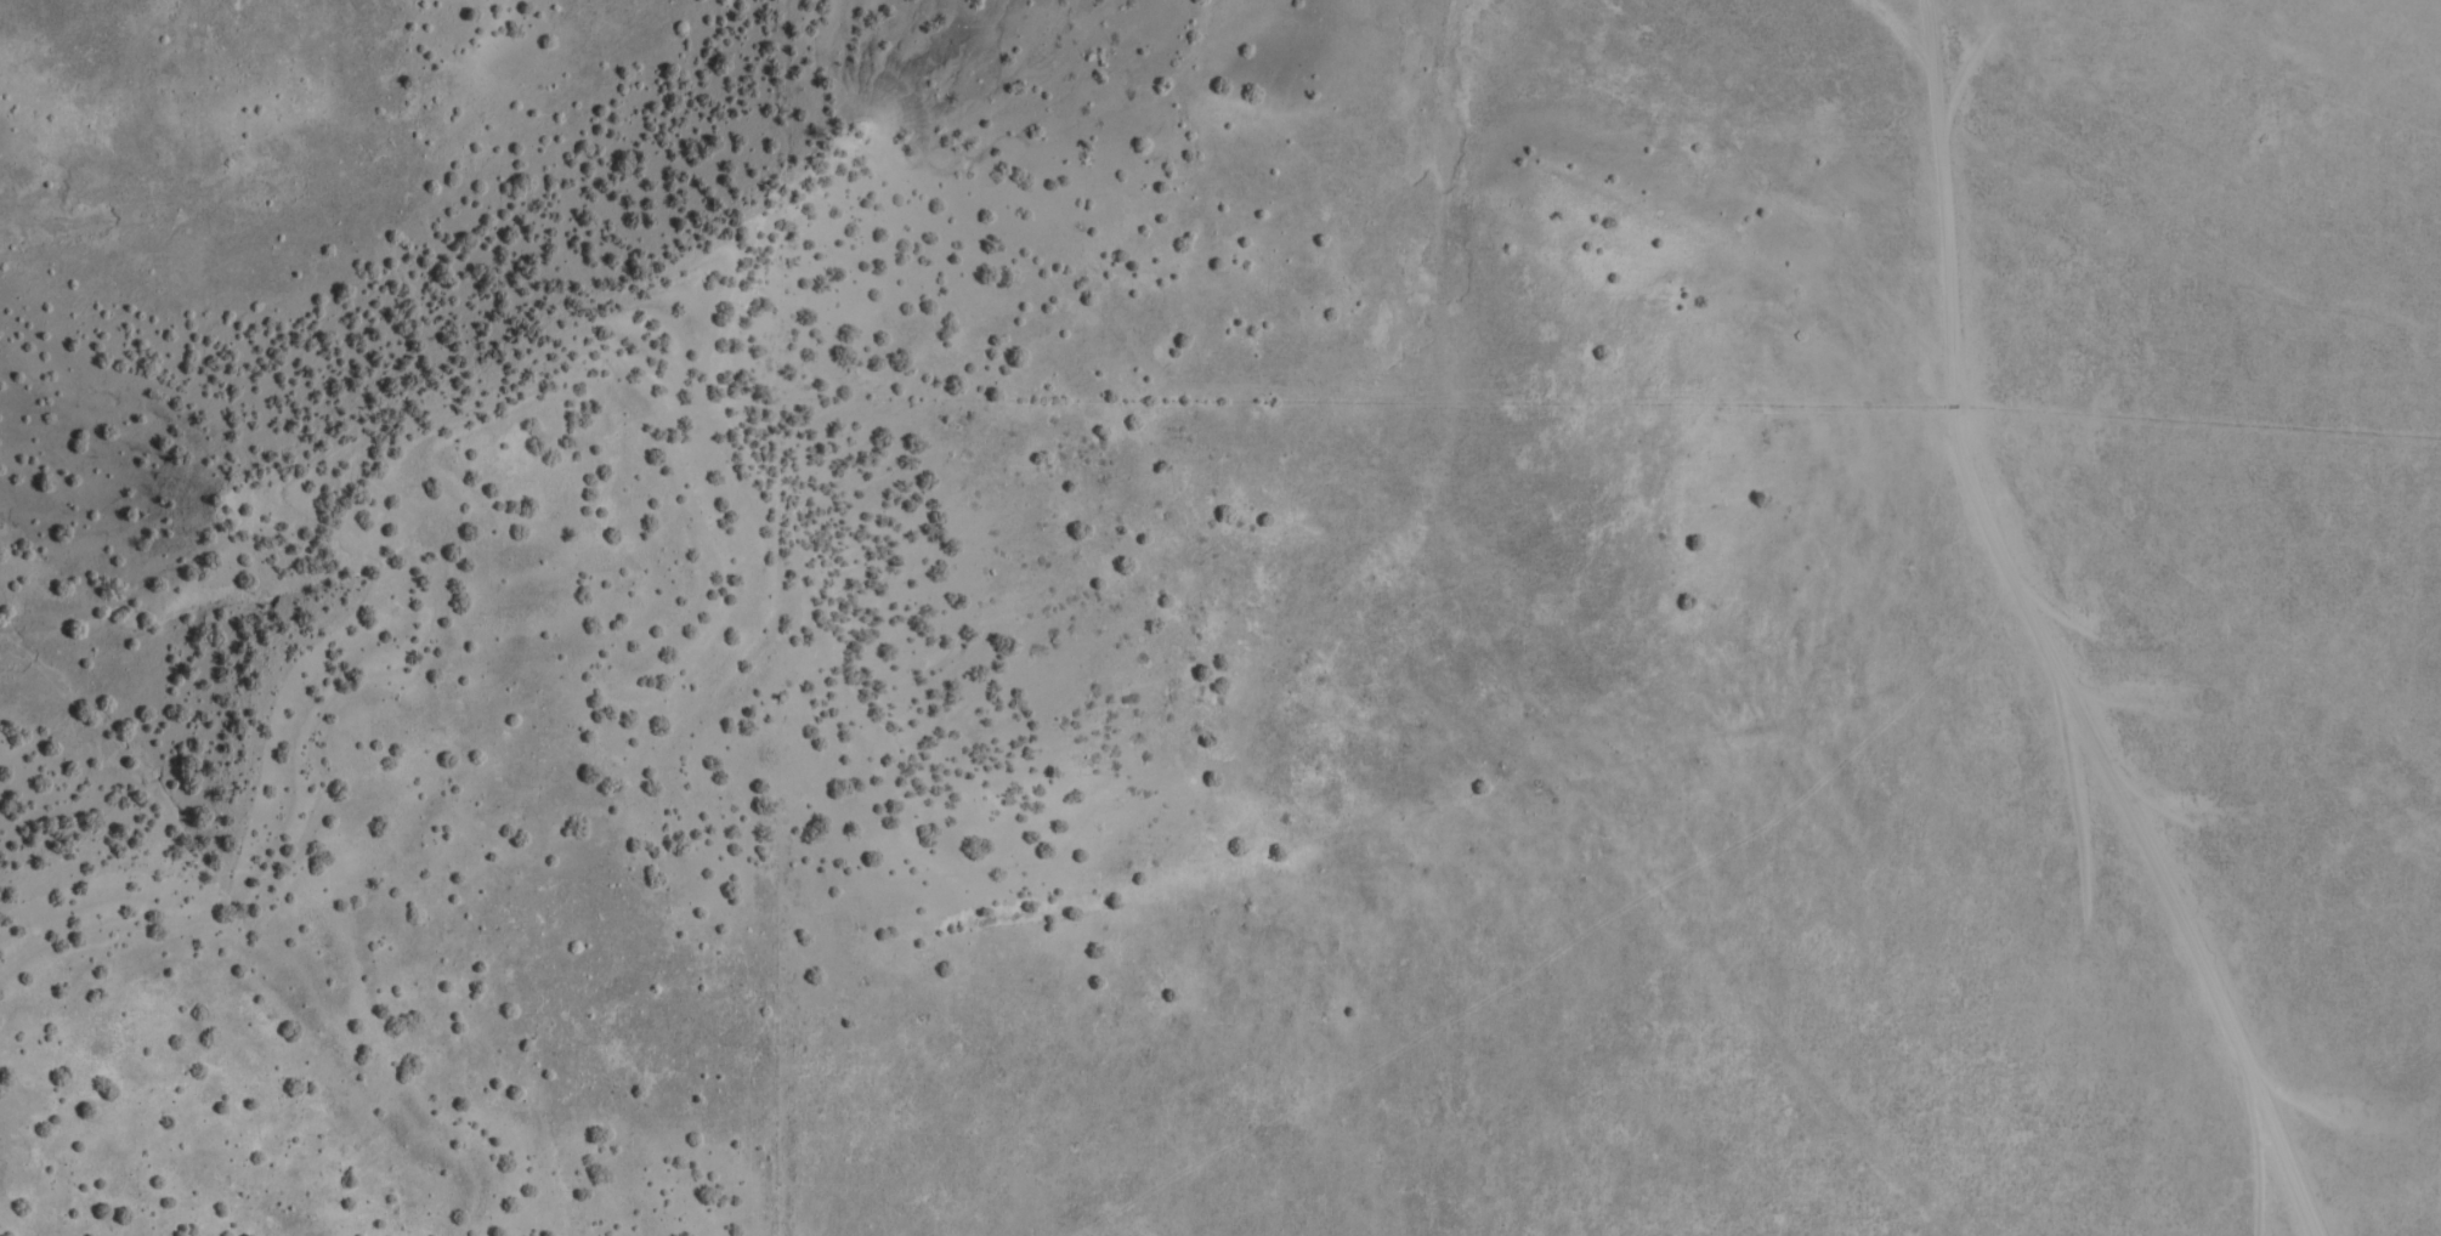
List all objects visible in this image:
road: (1971, 651)

